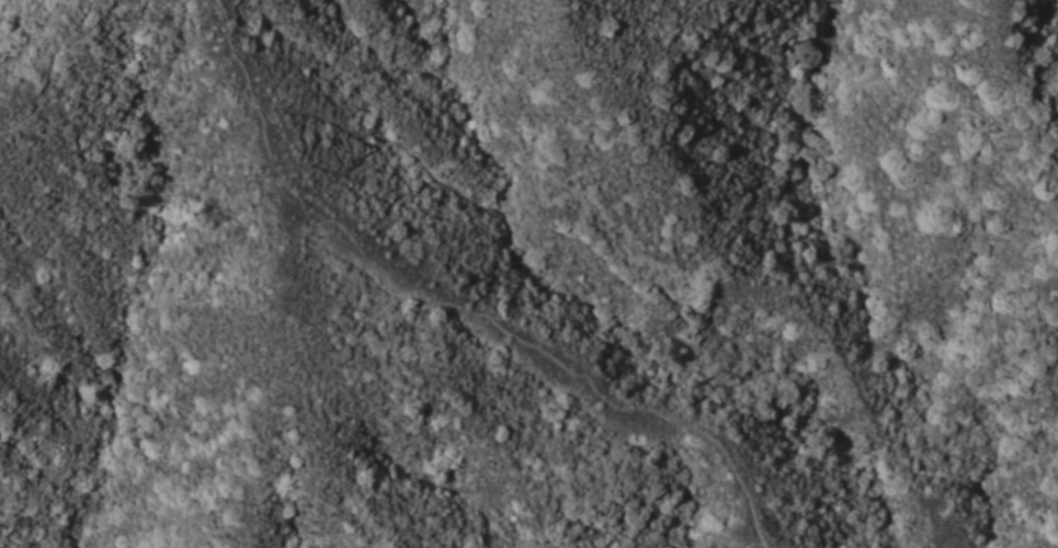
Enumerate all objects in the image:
road: (57, 66)
road: (451, 302)

